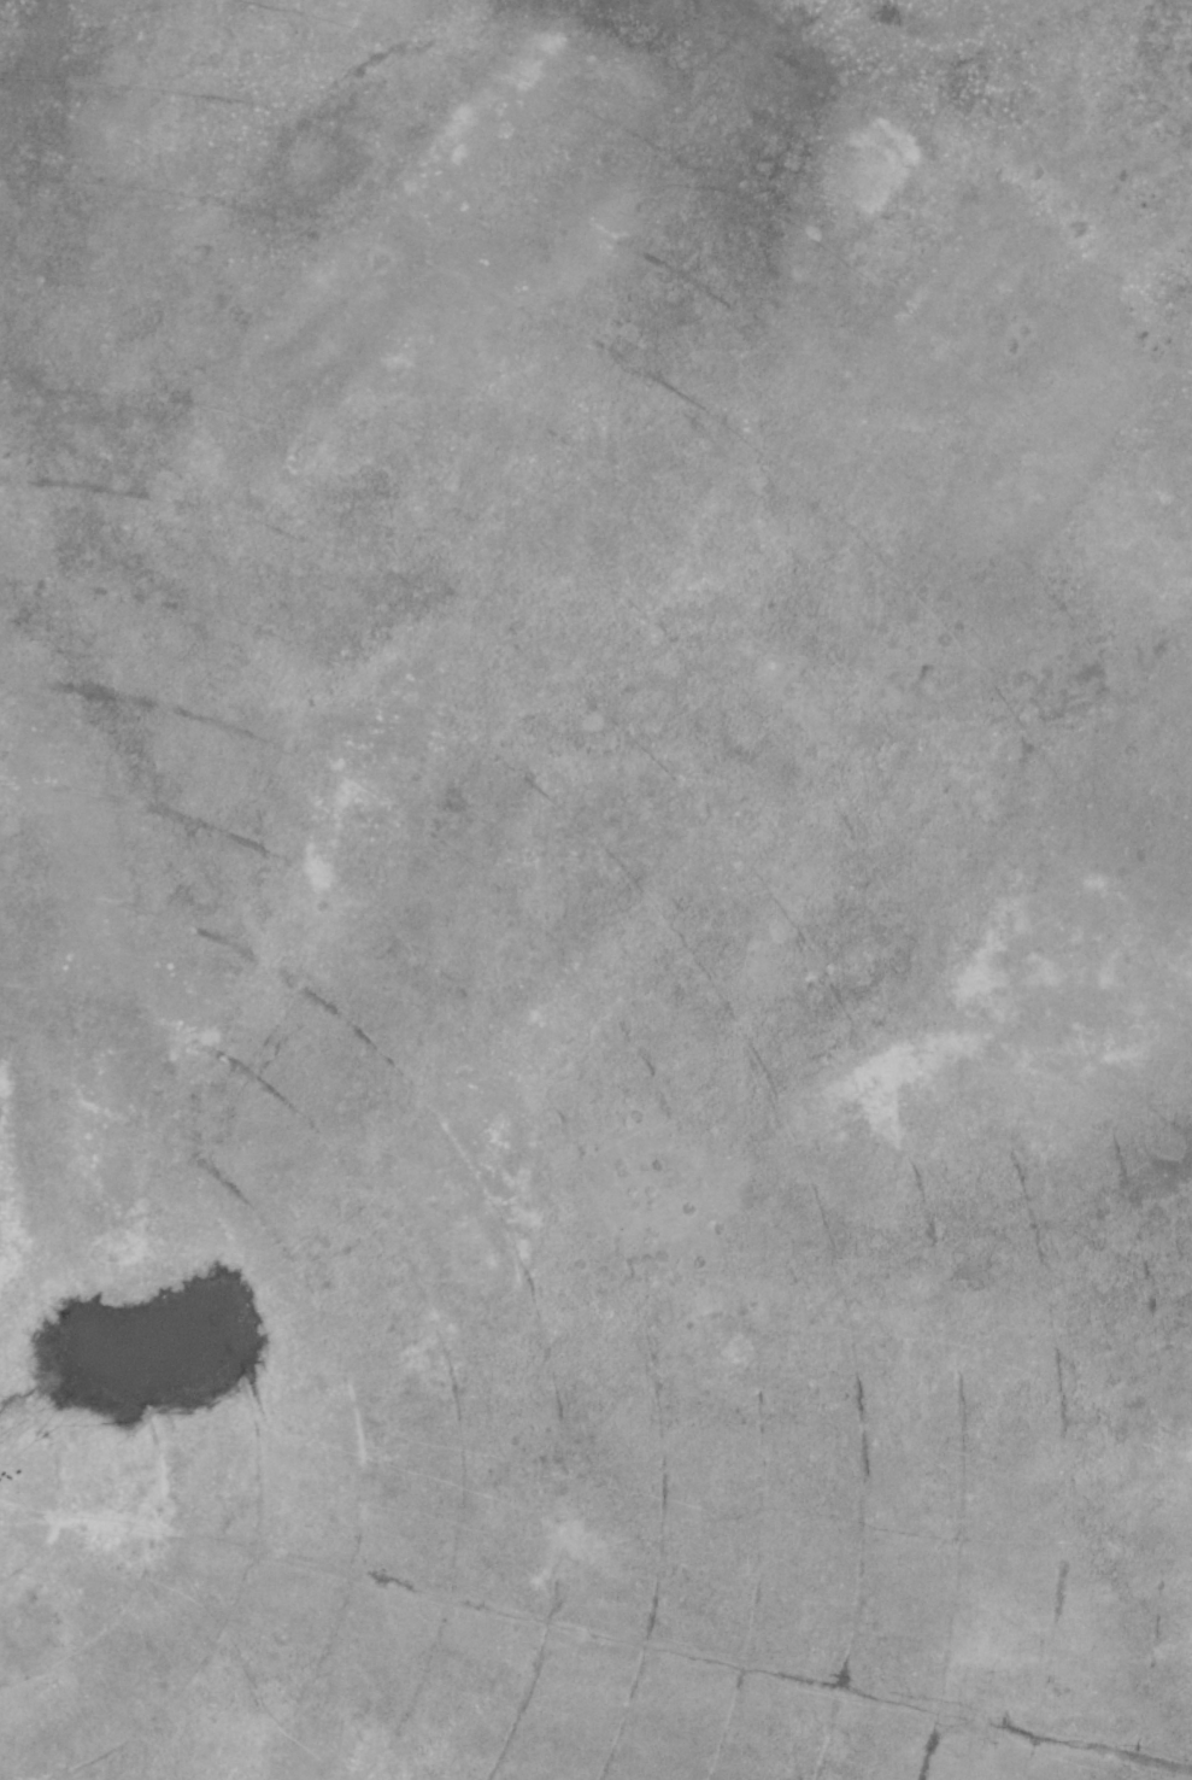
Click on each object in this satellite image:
crop: (595, 890)

